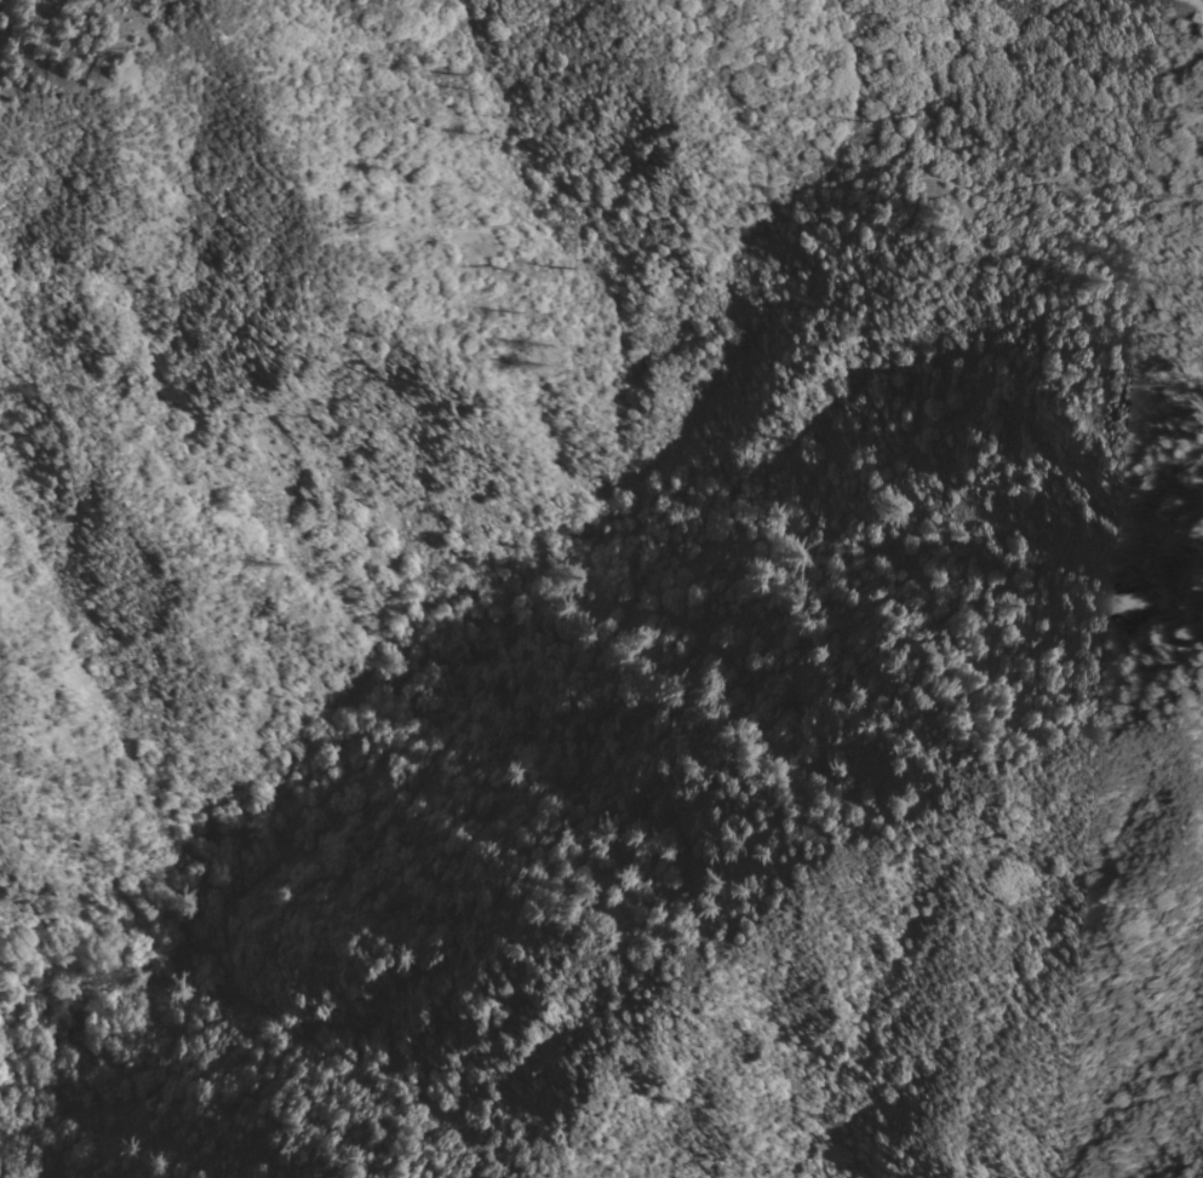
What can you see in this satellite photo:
road: (1201, 1)
road: (1175, 77)
road: (636, 650)

